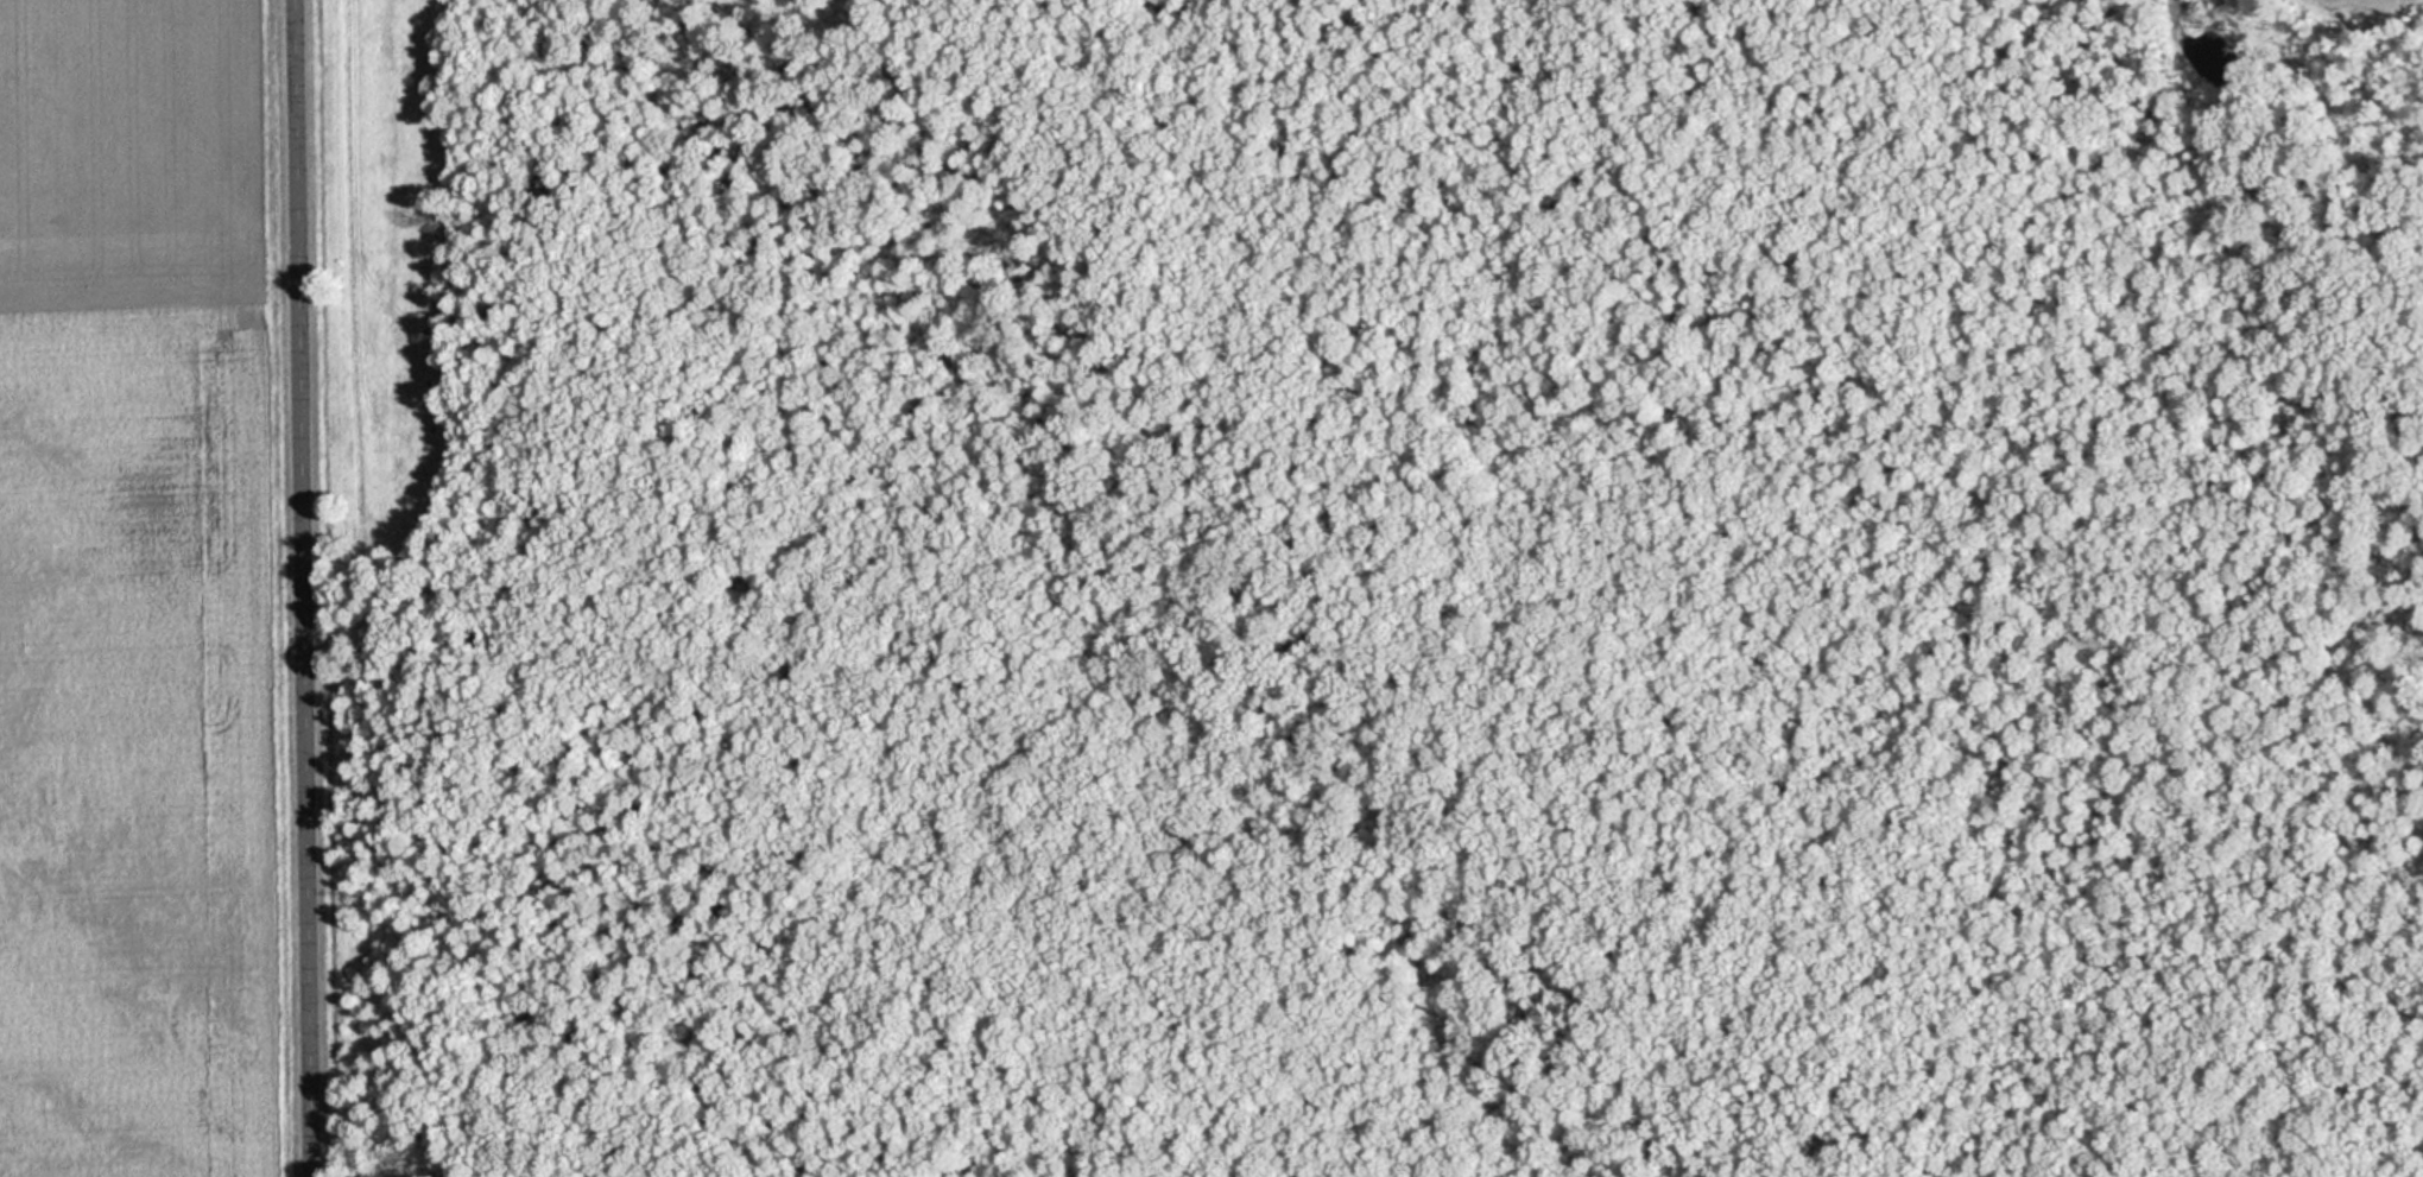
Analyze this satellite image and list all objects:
road: (314, 588)

